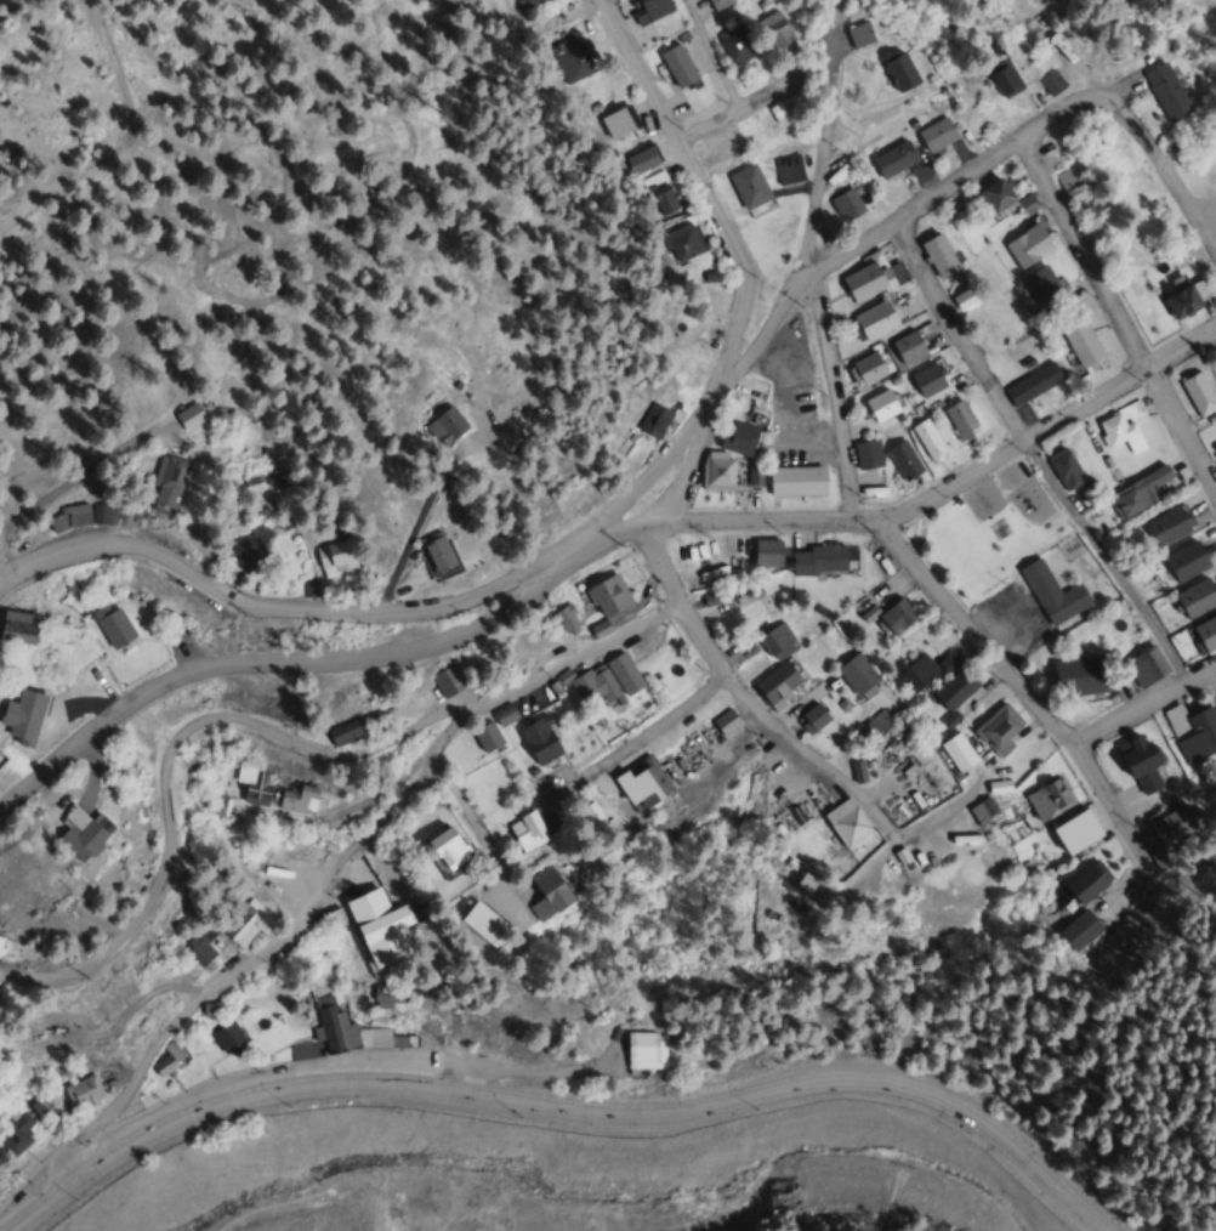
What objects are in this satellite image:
building: (530, 2)
building: (717, 4)
building: (648, 8)
building: (773, 27)
building: (858, 35)
building: (733, 42)
building: (570, 58)
building: (677, 64)
building: (898, 69)
building: (1000, 73)
building: (1050, 81)
building: (1166, 91)
road: (728, 109)
building: (936, 134)
building: (716, 152)
building: (738, 153)
building: (893, 158)
building: (642, 159)
building: (788, 169)
road: (1166, 172)
building: (1072, 180)
building: (749, 186)
road: (954, 191)
building: (661, 195)
building: (1002, 200)
building: (847, 204)
road: (812, 226)
building: (681, 242)
building: (1028, 245)
building: (938, 255)
building: (871, 277)
road: (745, 282)
building: (1044, 288)
building: (1201, 288)
building: (962, 297)
building: (1182, 301)
building: (691, 310)
building: (874, 319)
road: (1120, 322)
road: (959, 335)
building: (1080, 339)
building: (908, 346)
building: (868, 368)
building: (927, 380)
building: (1032, 384)
road: (831, 393)
building: (1198, 395)
building: (880, 405)
building: (188, 416)
building: (960, 419)
building: (653, 420)
building: (445, 426)
building: (1121, 427)
building: (738, 438)
building: (928, 439)
building: (1215, 448)
building: (868, 454)
building: (904, 460)
building: (1064, 469)
building: (717, 471)
building: (796, 481)
building: (166, 482)
building: (1137, 494)
building: (69, 517)
building: (1167, 527)
road: (614, 534)
building: (251, 549)
building: (434, 551)
building: (766, 552)
building: (335, 557)
building: (818, 560)
building: (1186, 561)
building: (1052, 594)
building: (608, 595)
building: (1195, 597)
building: (898, 614)
building: (566, 619)
building: (17, 626)
building: (112, 626)
building: (1205, 634)
building: (777, 641)
building: (949, 662)
road: (285, 663)
building: (1148, 665)
building: (917, 673)
building: (857, 674)
building: (1078, 675)
building: (607, 679)
building: (448, 681)
building: (777, 685)
road: (1018, 685)
building: (954, 690)
road: (741, 696)
road: (1142, 708)
building: (21, 716)
building: (813, 717)
building: (726, 721)
building: (998, 726)
building: (874, 728)
road: (272, 730)
building: (346, 731)
building: (1193, 731)
building: (487, 738)
building: (540, 739)
road: (633, 741)
building: (956, 753)
building: (1138, 760)
building: (641, 782)
building: (254, 785)
building: (297, 798)
building: (1047, 798)
building: (215, 804)
building: (982, 811)
building: (589, 816)
road: (475, 818)
building: (846, 822)
building: (525, 830)
building: (1075, 830)
building: (1171, 832)
building: (76, 833)
building: (447, 847)
building: (311, 863)
building: (274, 878)
building: (1085, 883)
building: (807, 884)
building: (545, 892)
building: (245, 923)
building: (482, 924)
building: (375, 929)
building: (1078, 930)
road: (262, 948)
building: (379, 995)
building: (210, 1009)
building: (339, 1033)
building: (227, 1037)
building: (646, 1050)
building: (163, 1066)
building: (81, 1093)
road: (561, 1110)
building: (13, 1131)

